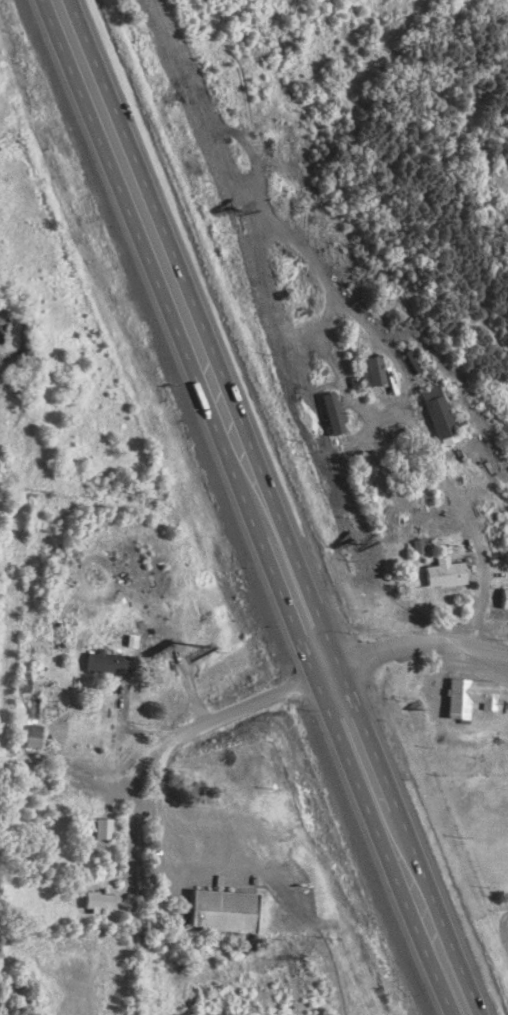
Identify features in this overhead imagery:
building: (361, 369)
building: (373, 370)
building: (331, 414)
road: (244, 507)
road: (273, 507)
road: (464, 526)
building: (444, 573)
building: (503, 599)
road: (408, 647)
building: (108, 663)
building: (468, 697)
road: (128, 728)
building: (27, 736)
road: (159, 756)
building: (101, 829)
road: (129, 841)
road: (265, 872)
building: (100, 901)
building: (220, 911)

